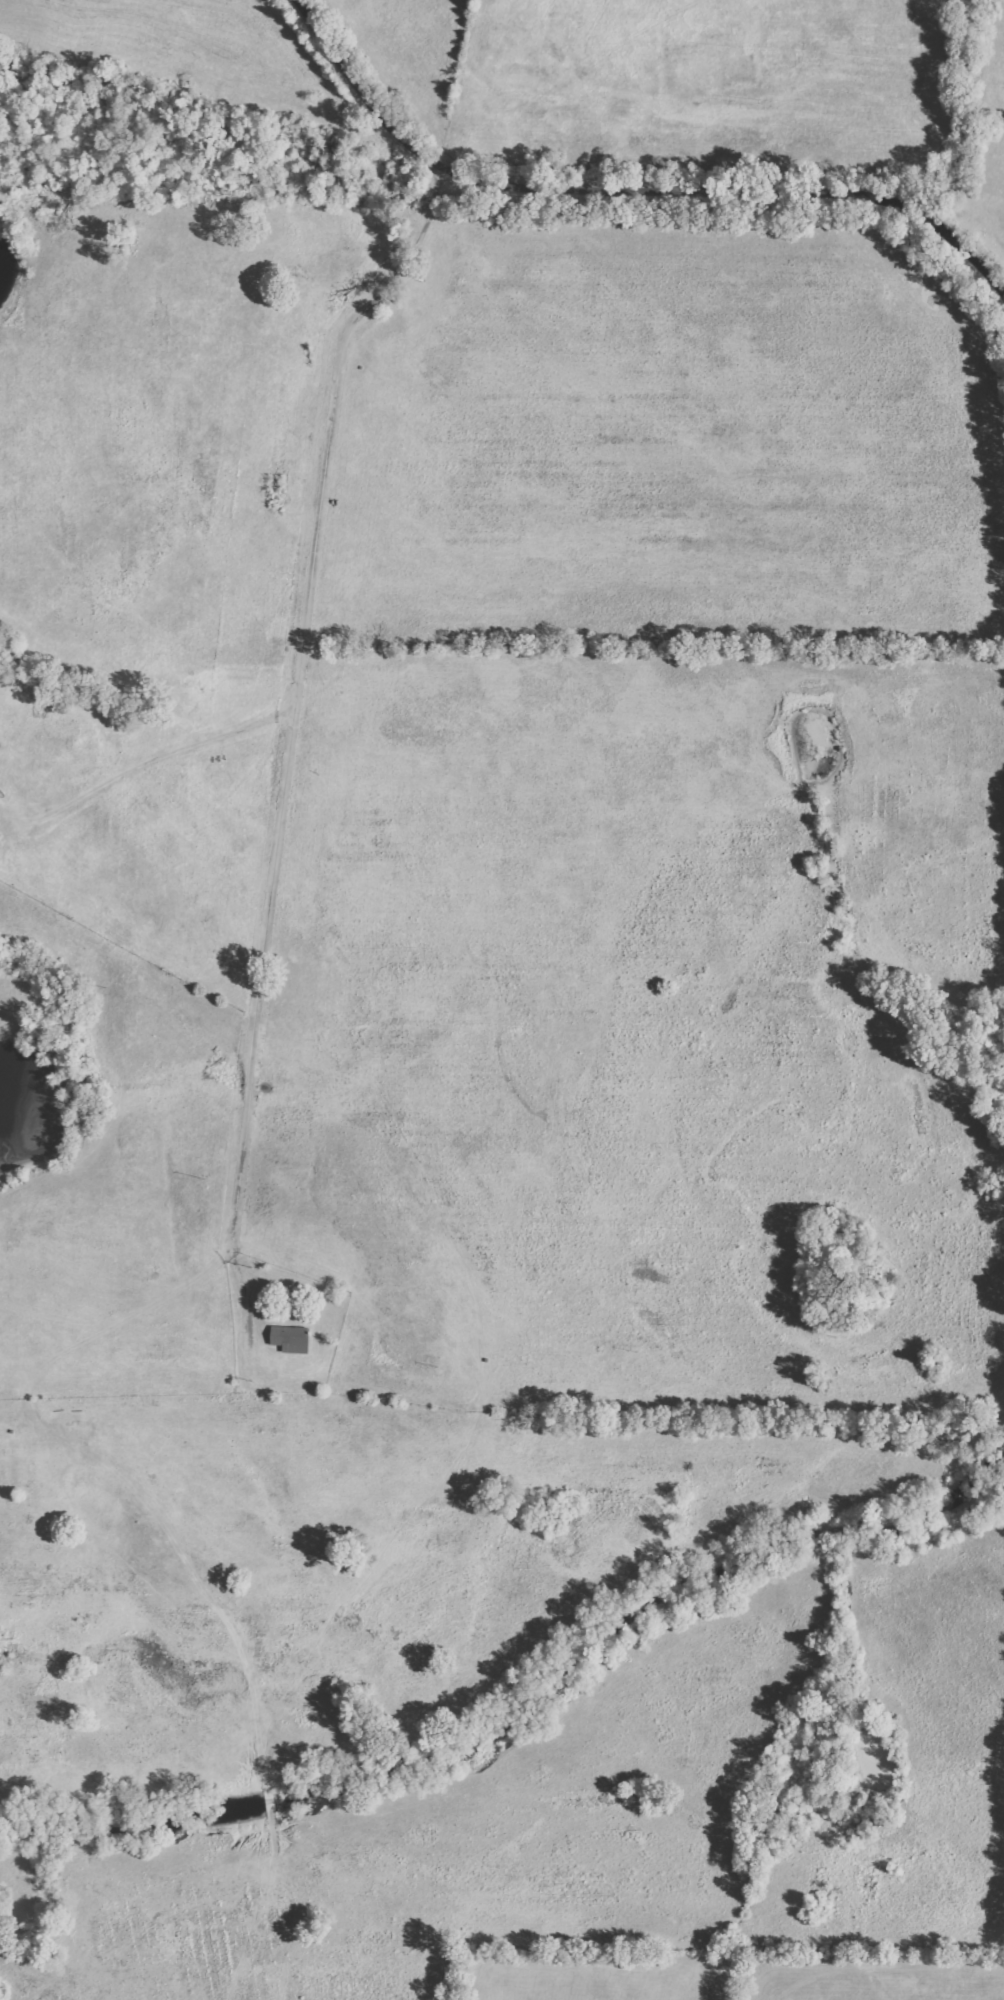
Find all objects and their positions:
road: (627, 188)
road: (308, 577)
road: (252, 1018)
building: (291, 1338)

